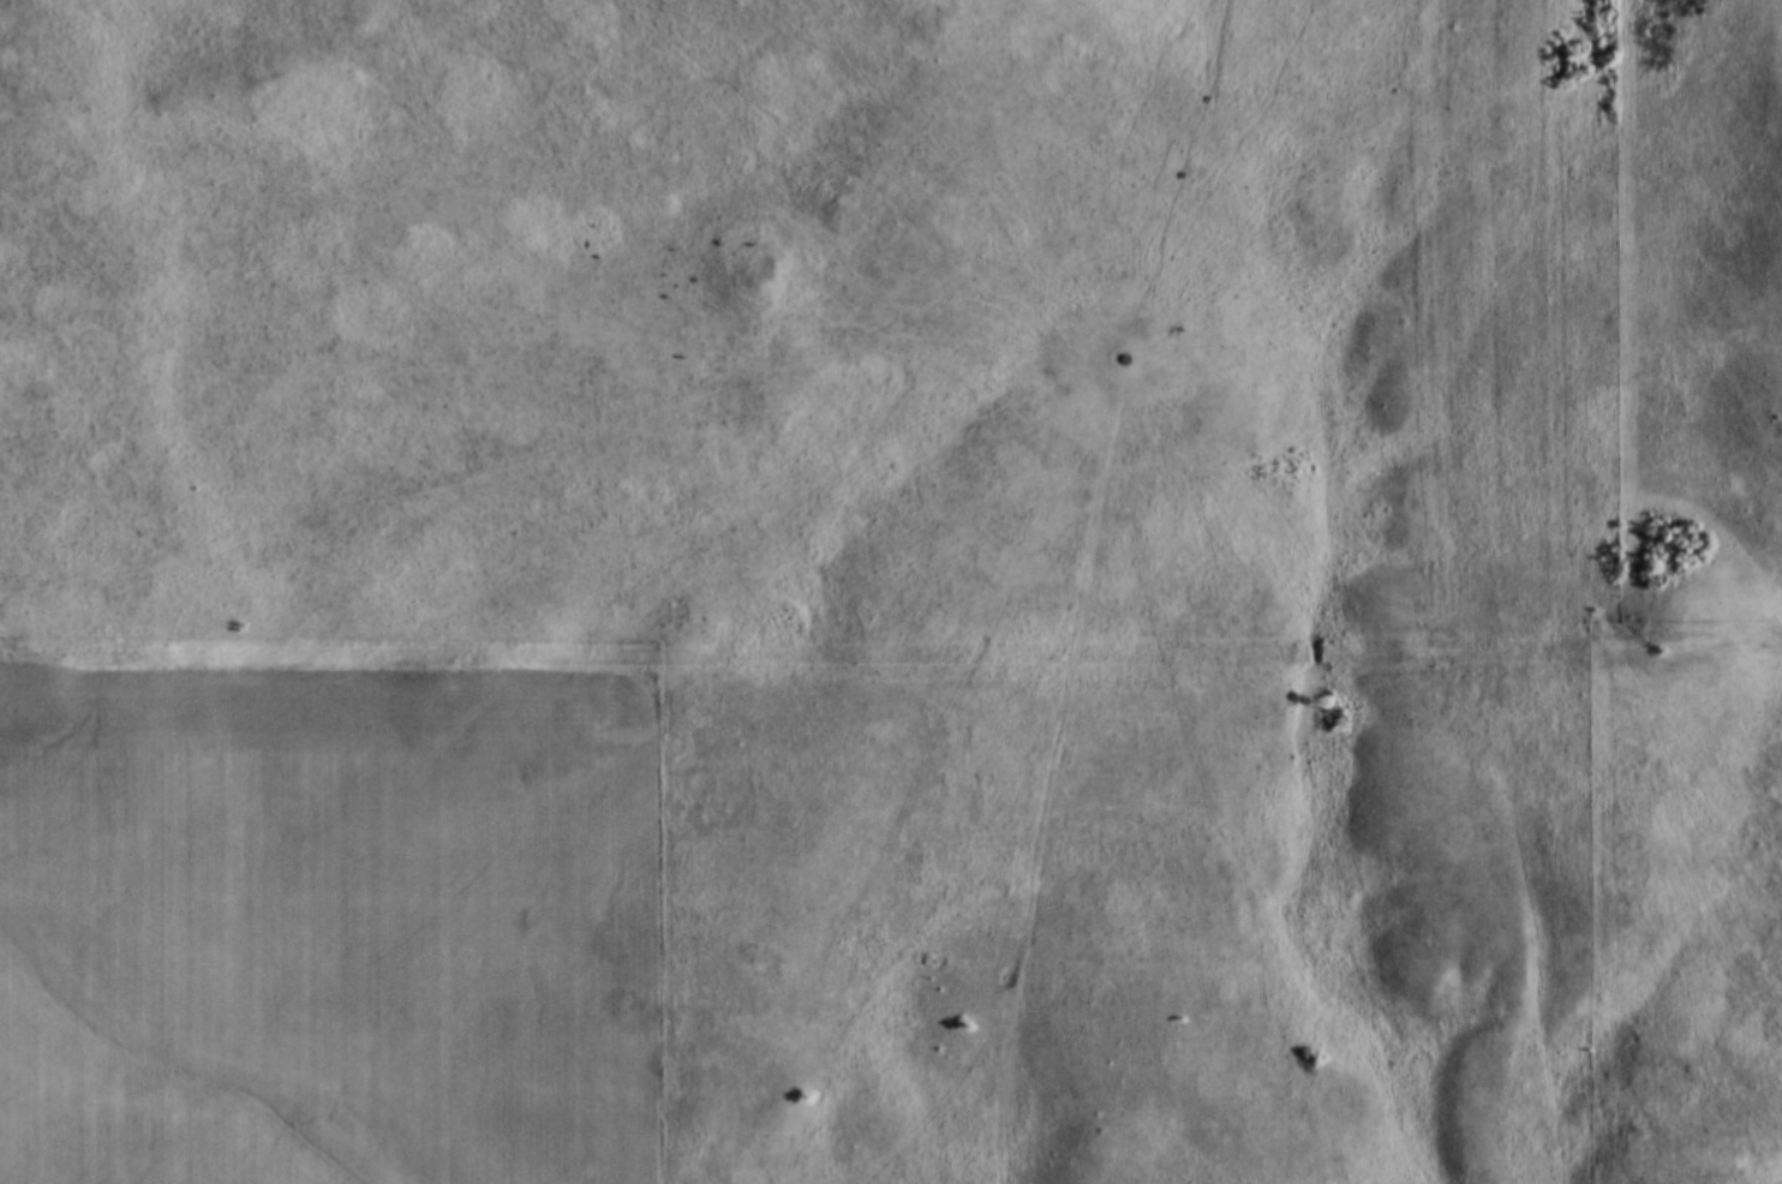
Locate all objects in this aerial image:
road: (1628, 596)

